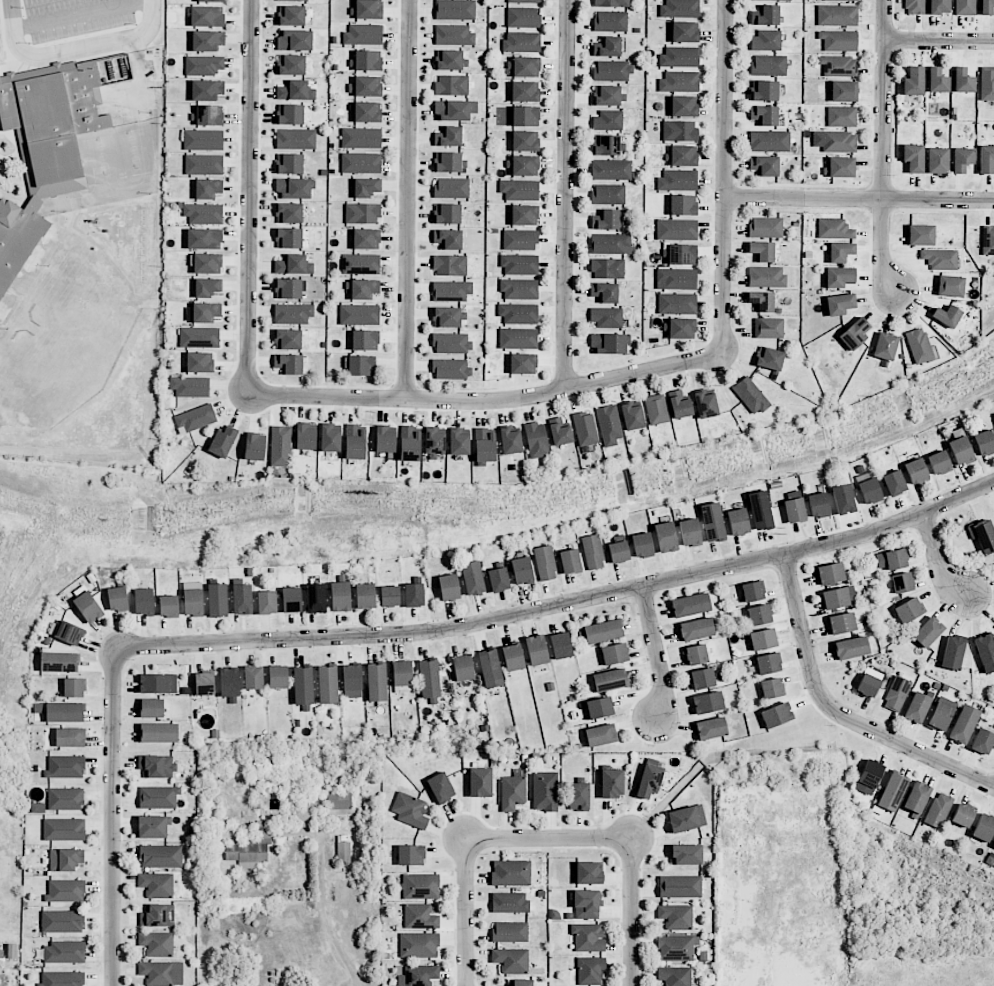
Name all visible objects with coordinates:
building: (290, 0)
building: (782, 0)
building: (843, 0)
building: (211, 1)
building: (524, 1)
building: (612, 3)
building: (939, 6)
building: (914, 7)
building: (964, 7)
building: (986, 7)
building: (680, 8)
building: (366, 9)
building: (455, 9)
building: (291, 15)
building: (765, 15)
building: (837, 15)
building: (207, 16)
building: (523, 17)
building: (611, 21)
building: (685, 32)
building: (363, 34)
building: (454, 35)
road: (939, 39)
building: (207, 40)
building: (294, 40)
building: (839, 40)
building: (522, 41)
building: (765, 41)
building: (607, 47)
road: (73, 49)
building: (680, 57)
building: (368, 60)
building: (450, 60)
building: (204, 64)
building: (291, 65)
building: (768, 65)
building: (838, 65)
building: (524, 67)
building: (612, 70)
building: (937, 80)
building: (962, 80)
building: (679, 81)
building: (913, 81)
building: (987, 83)
building: (451, 85)
building: (365, 86)
building: (207, 90)
building: (764, 90)
building: (295, 91)
building: (525, 91)
building: (844, 91)
building: (608, 95)
building: (684, 106)
building: (454, 110)
building: (367, 112)
building: (290, 114)
building: (209, 115)
building: (764, 115)
building: (526, 116)
building: (841, 116)
building: (607, 121)
building: (679, 131)
building: (448, 136)
building: (361, 138)
building: (295, 139)
building: (203, 140)
building: (525, 141)
building: (769, 141)
building: (839, 141)
building: (608, 145)
building: (44, 147)
road: (883, 150)
building: (683, 155)
building: (913, 158)
building: (962, 159)
building: (986, 160)
building: (937, 161)
building: (361, 162)
building: (449, 162)
building: (289, 163)
building: (204, 164)
building: (525, 165)
building: (764, 165)
building: (841, 167)
building: (611, 169)
road: (723, 177)
building: (678, 180)
building: (366, 187)
building: (452, 187)
building: (208, 188)
building: (293, 188)
building: (519, 189)
road: (565, 194)
building: (608, 194)
road: (249, 197)
road: (858, 197)
road: (409, 200)
building: (683, 205)
building: (202, 213)
building: (289, 213)
building: (362, 213)
building: (447, 214)
building: (525, 215)
building: (604, 220)
building: (765, 227)
building: (677, 229)
building: (834, 229)
building: (921, 235)
building: (288, 238)
building: (204, 239)
building: (366, 239)
building: (448, 239)
building: (520, 240)
building: (988, 240)
building: (611, 244)
building: (762, 251)
building: (840, 252)
building: (682, 255)
building: (940, 259)
building: (207, 263)
building: (360, 264)
building: (293, 265)
building: (450, 265)
building: (520, 265)
building: (607, 268)
building: (766, 276)
building: (839, 277)
building: (676, 279)
building: (950, 286)
building: (206, 287)
building: (288, 289)
building: (362, 289)
building: (519, 289)
building: (451, 291)
building: (604, 292)
building: (761, 301)
building: (677, 303)
building: (840, 304)
building: (205, 313)
building: (293, 313)
building: (359, 314)
building: (518, 314)
building: (947, 316)
building: (448, 317)
building: (606, 317)
building: (682, 328)
building: (768, 328)
building: (854, 333)
building: (199, 337)
building: (518, 338)
building: (287, 339)
building: (365, 340)
building: (450, 343)
building: (609, 343)
building: (885, 346)
building: (919, 346)
building: (769, 358)
building: (199, 362)
building: (288, 364)
building: (523, 364)
building: (361, 365)
building: (451, 369)
building: (190, 387)
building: (750, 396)
road: (487, 402)
building: (679, 404)
building: (706, 404)
building: (656, 409)
building: (632, 417)
building: (195, 419)
building: (609, 425)
building: (585, 429)
building: (560, 432)
building: (306, 436)
building: (330, 438)
building: (385, 439)
building: (537, 440)
building: (223, 441)
building: (435, 441)
building: (510, 441)
building: (355, 442)
building: (459, 442)
building: (409, 443)
building: (984, 443)
building: (281, 446)
building: (254, 447)
building: (484, 447)
building: (960, 450)
building: (939, 462)
building: (916, 471)
building: (894, 483)
building: (869, 491)
building: (843, 499)
building: (818, 505)
building: (760, 510)
building: (794, 510)
building: (712, 522)
building: (737, 522)
building: (689, 532)
building: (982, 535)
building: (665, 537)
building: (642, 545)
building: (593, 552)
building: (618, 552)
building: (891, 559)
building: (570, 561)
road: (938, 561)
building: (545, 563)
building: (522, 570)
building: (830, 573)
building: (472, 578)
building: (498, 580)
building: (902, 582)
building: (449, 587)
building: (752, 591)
building: (414, 595)
building: (340, 596)
building: (365, 596)
building: (389, 596)
building: (838, 597)
building: (117, 598)
building: (316, 598)
building: (242, 599)
building: (217, 600)
building: (291, 600)
building: (143, 601)
building: (193, 602)
building: (267, 602)
road: (560, 605)
building: (690, 605)
building: (168, 606)
building: (88, 607)
building: (908, 610)
building: (759, 615)
building: (842, 623)
building: (696, 629)
building: (603, 631)
building: (928, 632)
building: (69, 633)
building: (763, 639)
building: (561, 645)
building: (851, 648)
building: (536, 650)
building: (953, 652)
building: (985, 652)
building: (614, 654)
road: (657, 654)
building: (696, 654)
building: (513, 657)
building: (59, 662)
building: (768, 664)
building: (490, 668)
building: (463, 671)
building: (402, 673)
building: (253, 677)
building: (278, 677)
building: (429, 679)
building: (701, 679)
building: (610, 680)
building: (352, 681)
building: (229, 682)
building: (376, 682)
building: (204, 683)
building: (155, 684)
building: (327, 684)
building: (302, 686)
building: (867, 686)
building: (74, 688)
building: (772, 688)
building: (896, 693)
building: (707, 703)
building: (917, 707)
building: (152, 708)
building: (599, 708)
building: (65, 712)
road: (839, 712)
building: (776, 715)
building: (940, 716)
building: (964, 723)
building: (711, 728)
building: (159, 732)
building: (600, 735)
building: (70, 737)
building: (982, 741)
building: (157, 766)
building: (66, 767)
building: (870, 773)
building: (649, 781)
building: (480, 782)
building: (611, 783)
building: (441, 787)
building: (545, 791)
building: (512, 792)
building: (892, 792)
building: (157, 797)
building: (578, 797)
building: (916, 798)
building: (65, 799)
building: (339, 802)
building: (38, 808)
building: (410, 810)
building: (938, 810)
building: (963, 815)
road: (113, 818)
building: (686, 818)
building: (153, 827)
building: (984, 828)
building: (64, 829)
building: (263, 829)
road: (625, 838)
building: (993, 846)
building: (343, 852)
building: (247, 854)
building: (686, 854)
building: (411, 855)
building: (161, 856)
building: (65, 859)
building: (511, 873)
building: (589, 873)
building: (156, 885)
building: (421, 886)
building: (680, 887)
building: (66, 891)
building: (509, 902)
building: (586, 903)
road: (468, 912)
road: (325, 914)
building: (157, 916)
building: (676, 916)
building: (420, 917)
building: (62, 921)
building: (510, 932)
building: (588, 937)
building: (156, 943)
building: (418, 945)
building: (676, 948)
building: (11, 951)
building: (64, 952)
building: (511, 960)
building: (590, 970)
building: (162, 973)
building: (418, 975)
building: (674, 976)
building: (62, 979)
building: (2, 980)
building: (522, 982)

